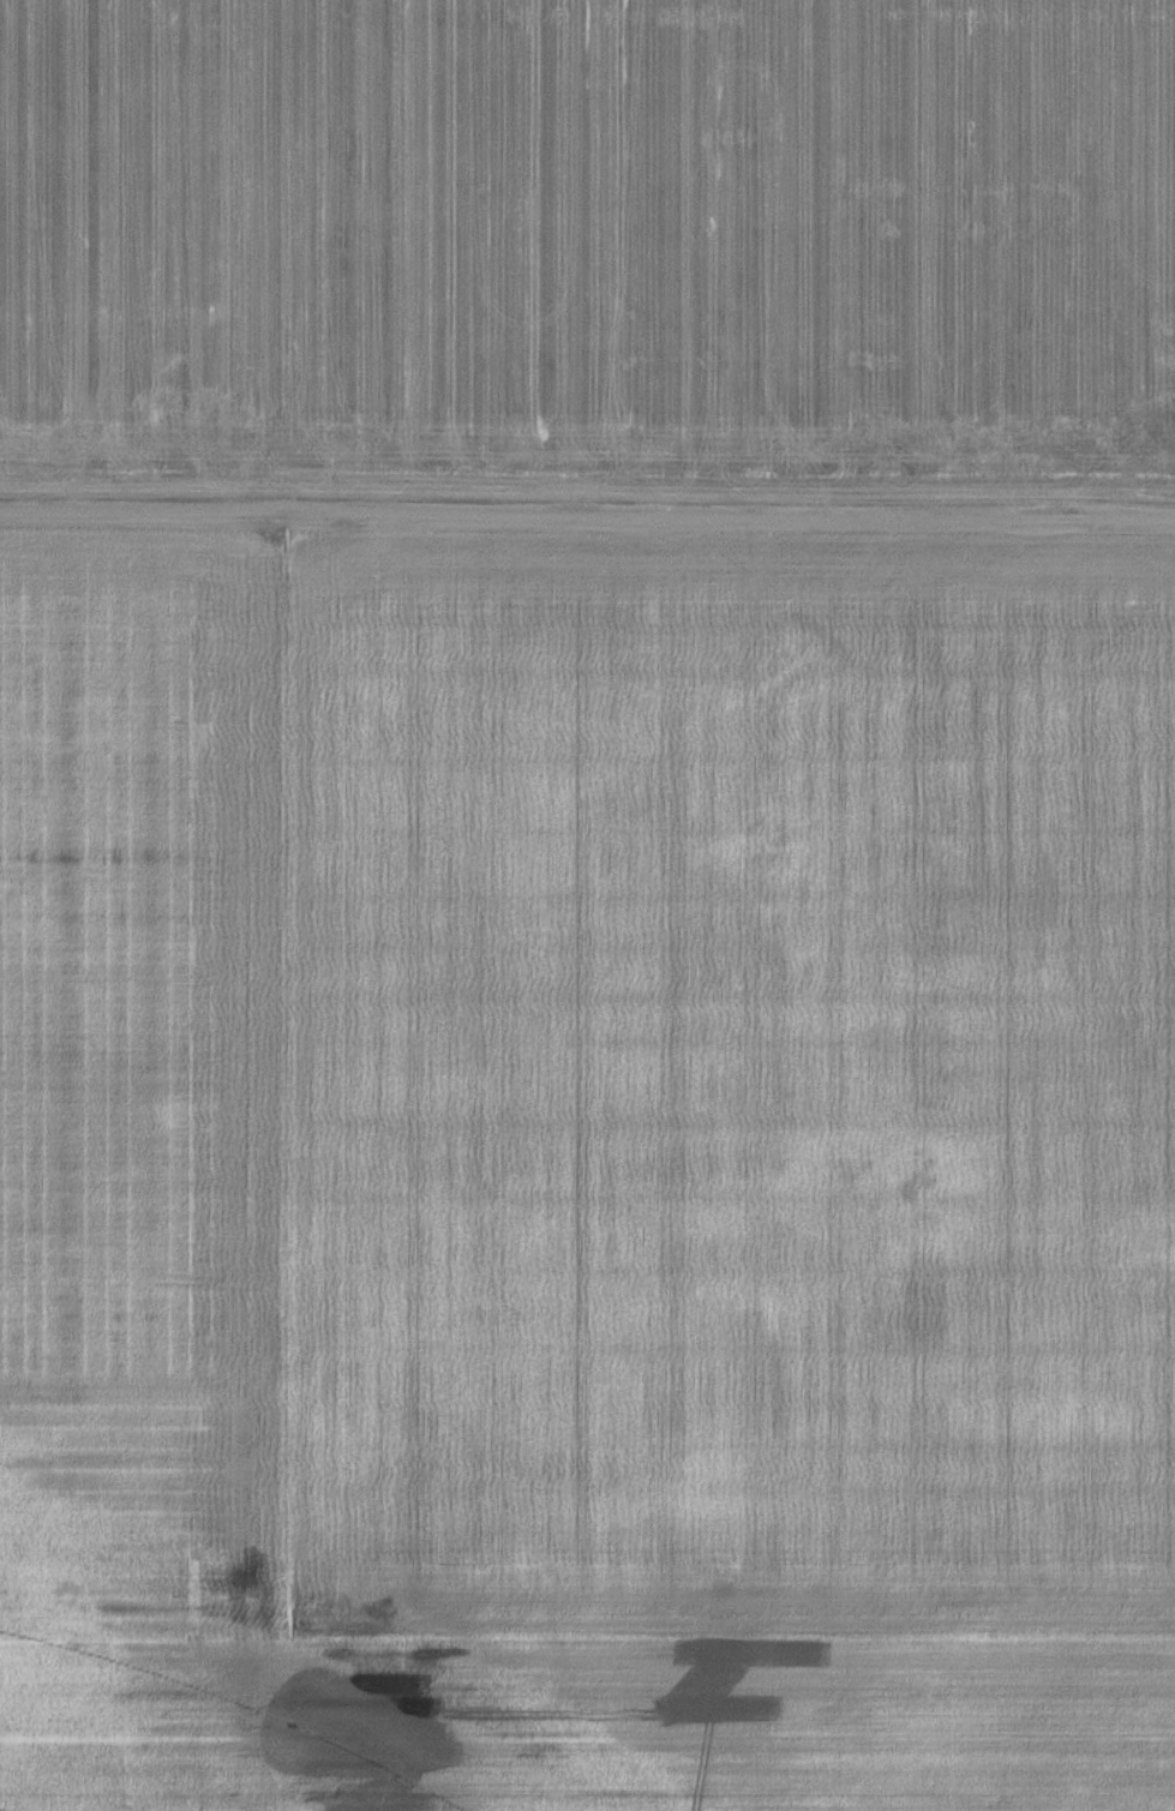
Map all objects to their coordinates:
road: (587, 514)

